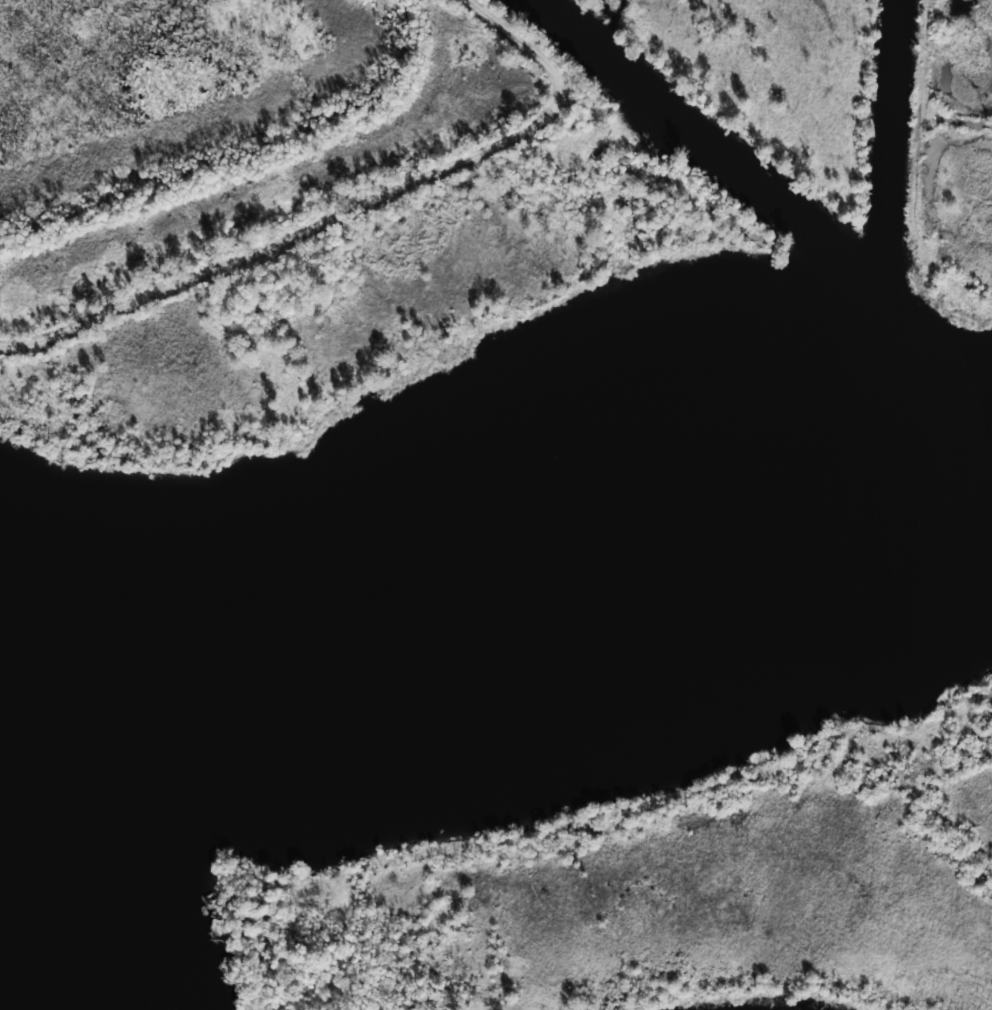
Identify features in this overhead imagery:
road: (956, 120)
road: (919, 164)
road: (349, 205)
river: (481, 601)
river: (48, 914)

